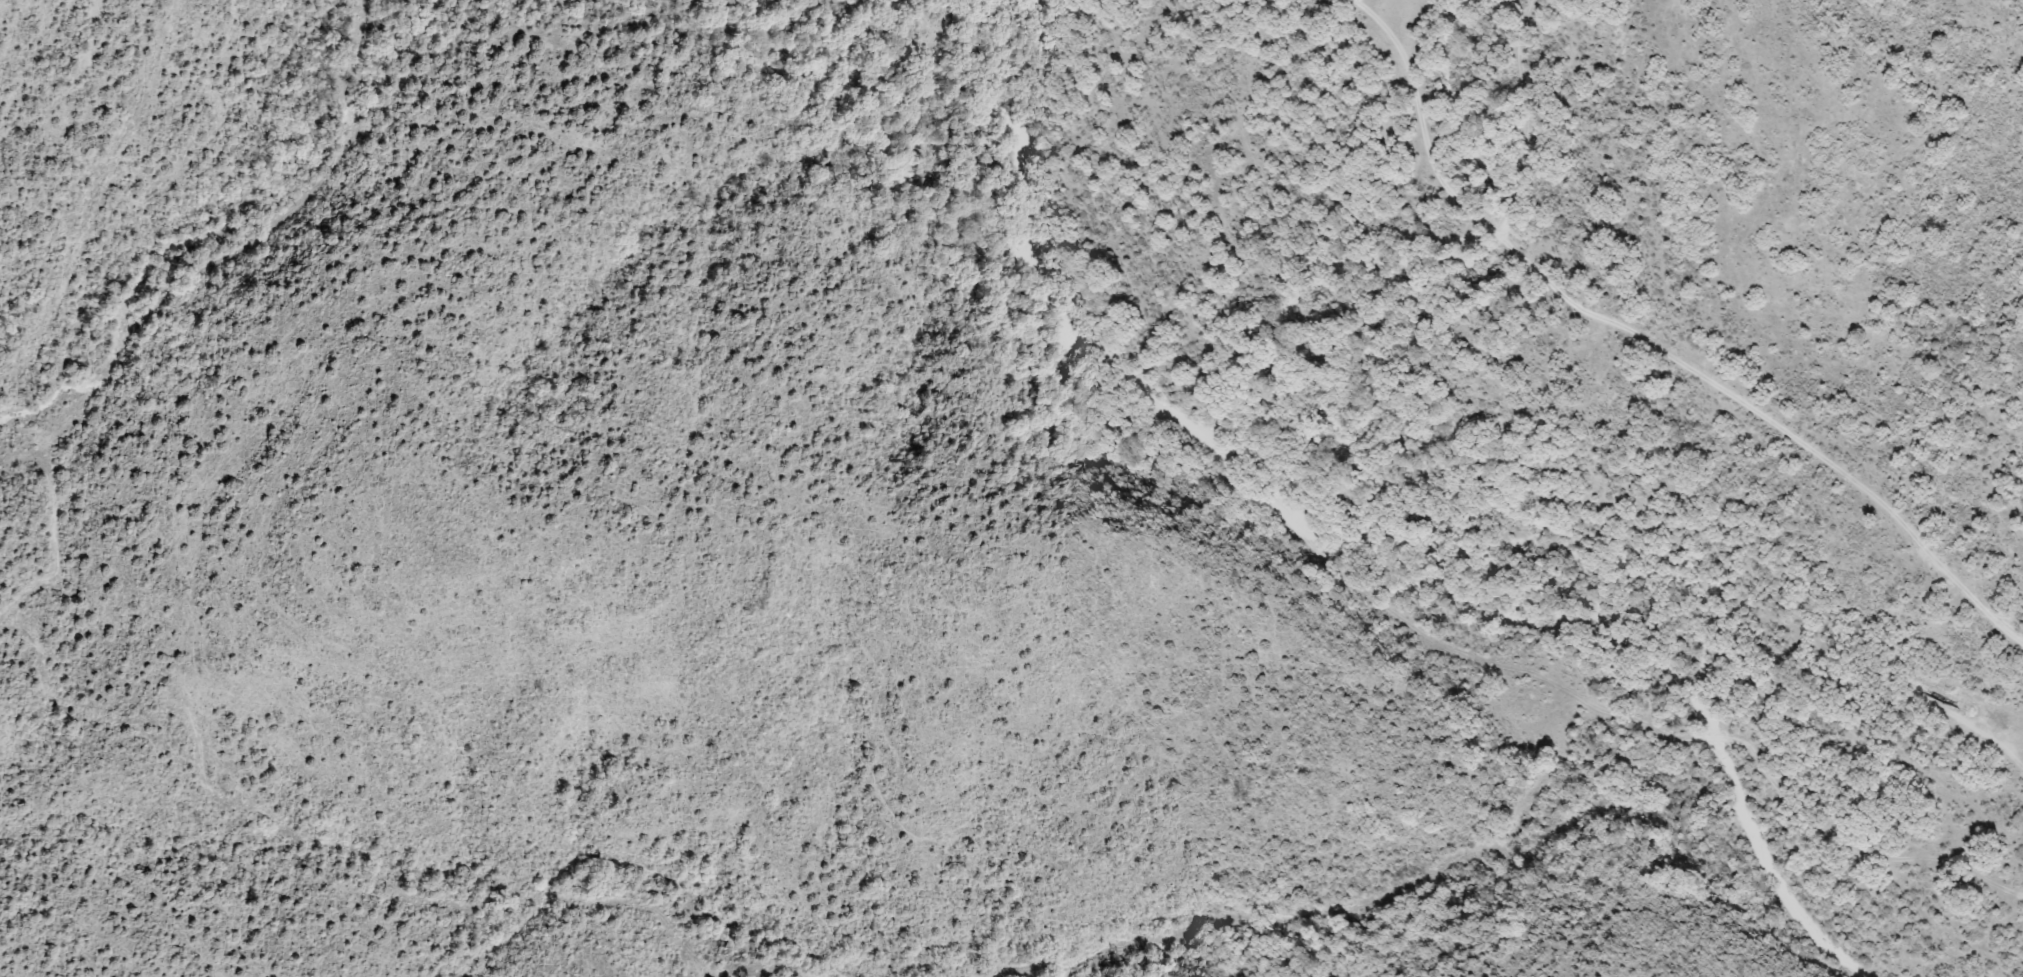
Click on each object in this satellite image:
road: (1532, 143)
road: (1649, 345)

